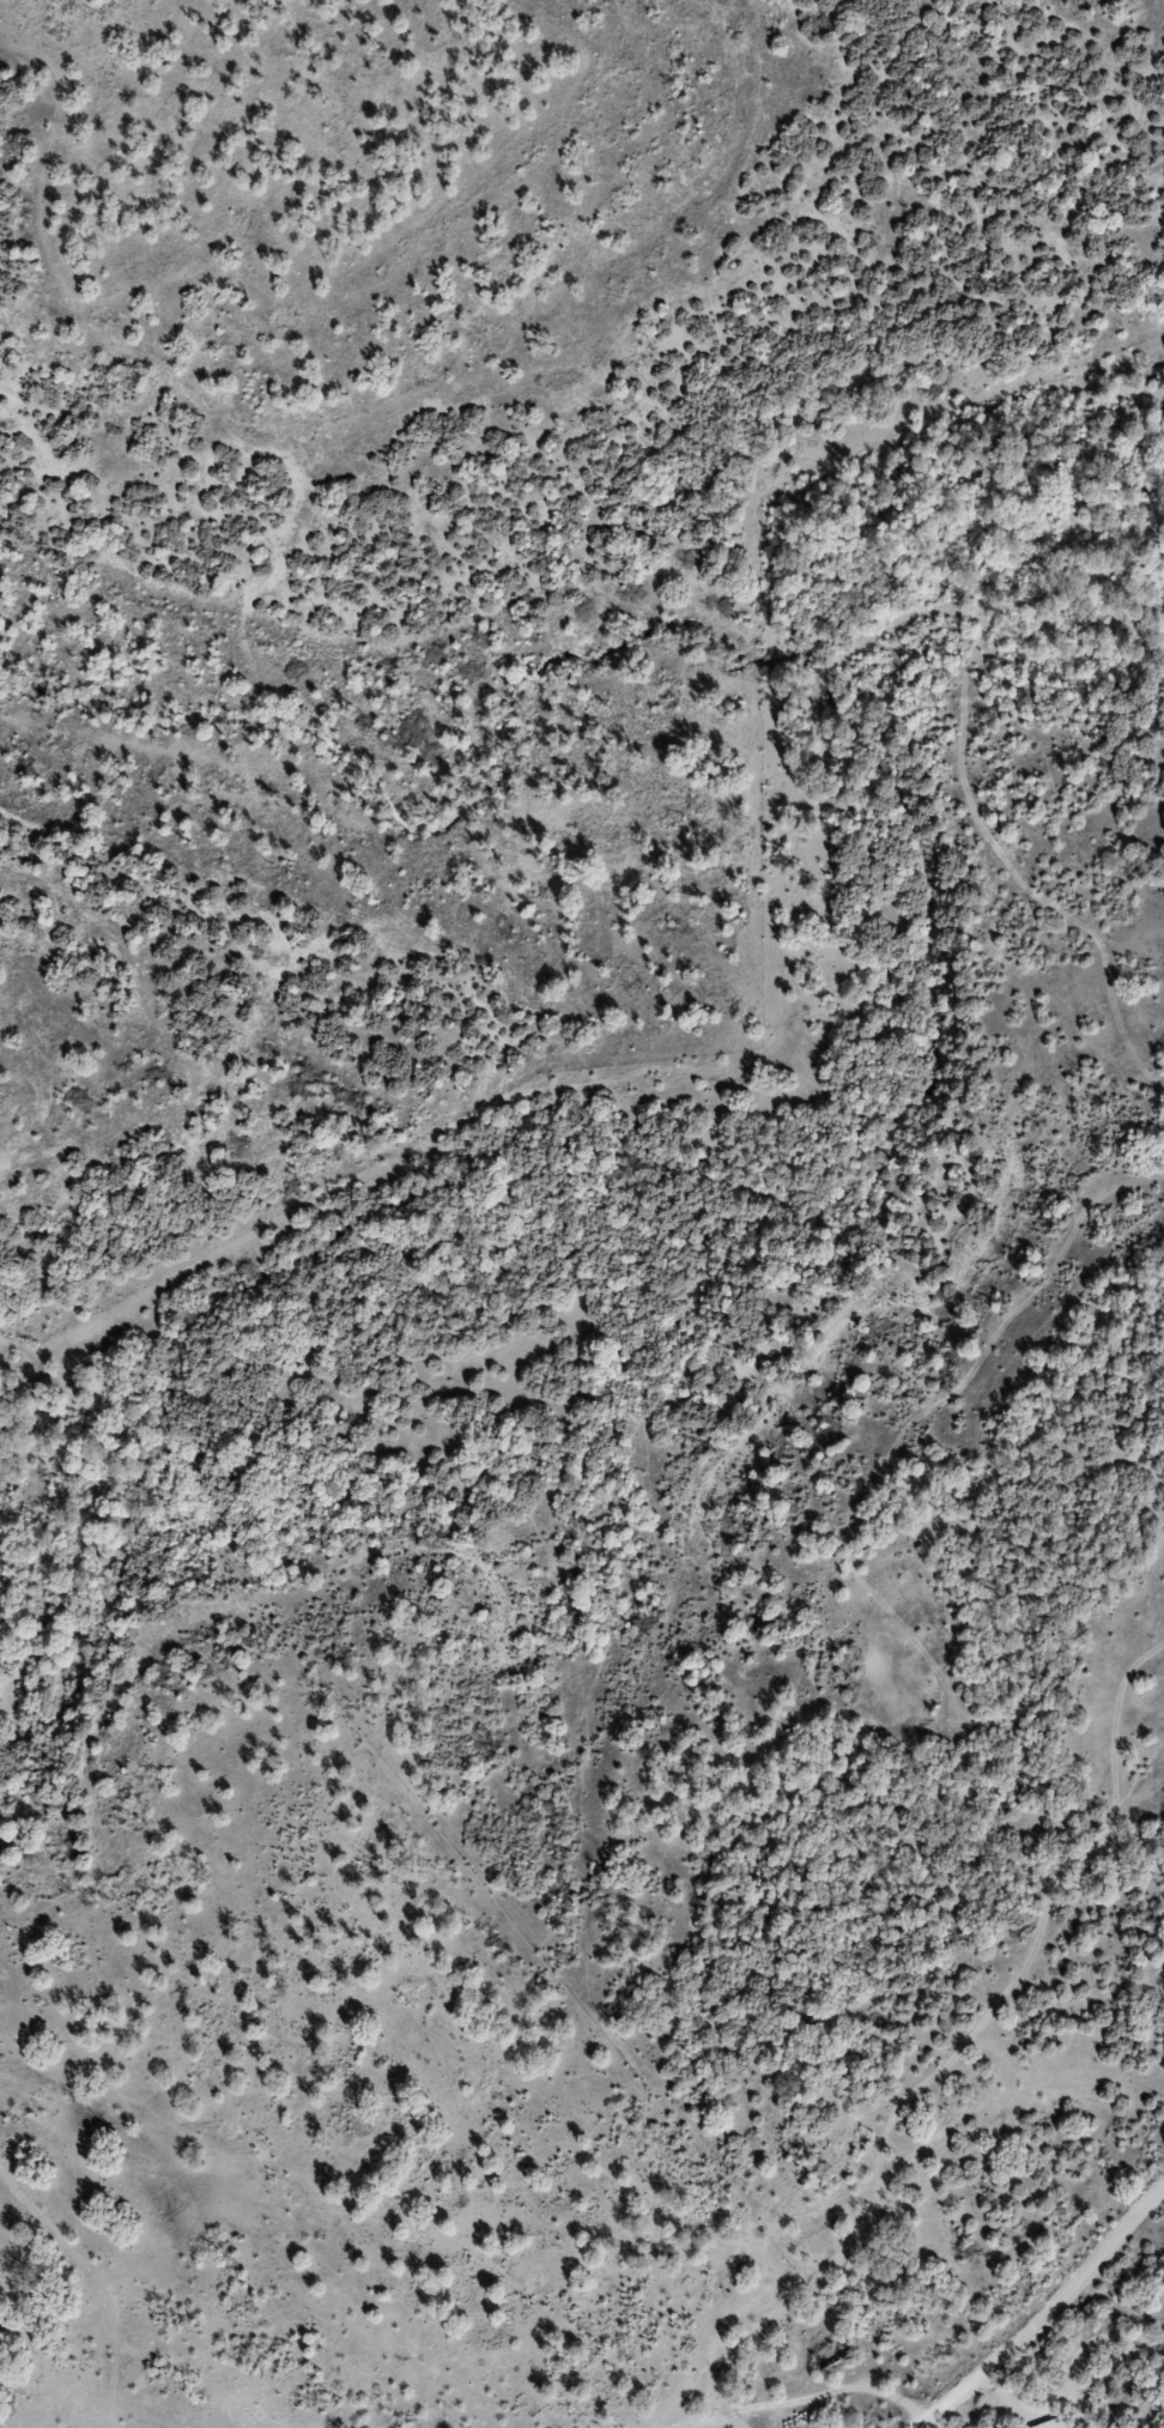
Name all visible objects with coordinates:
road: (1043, 2321)

